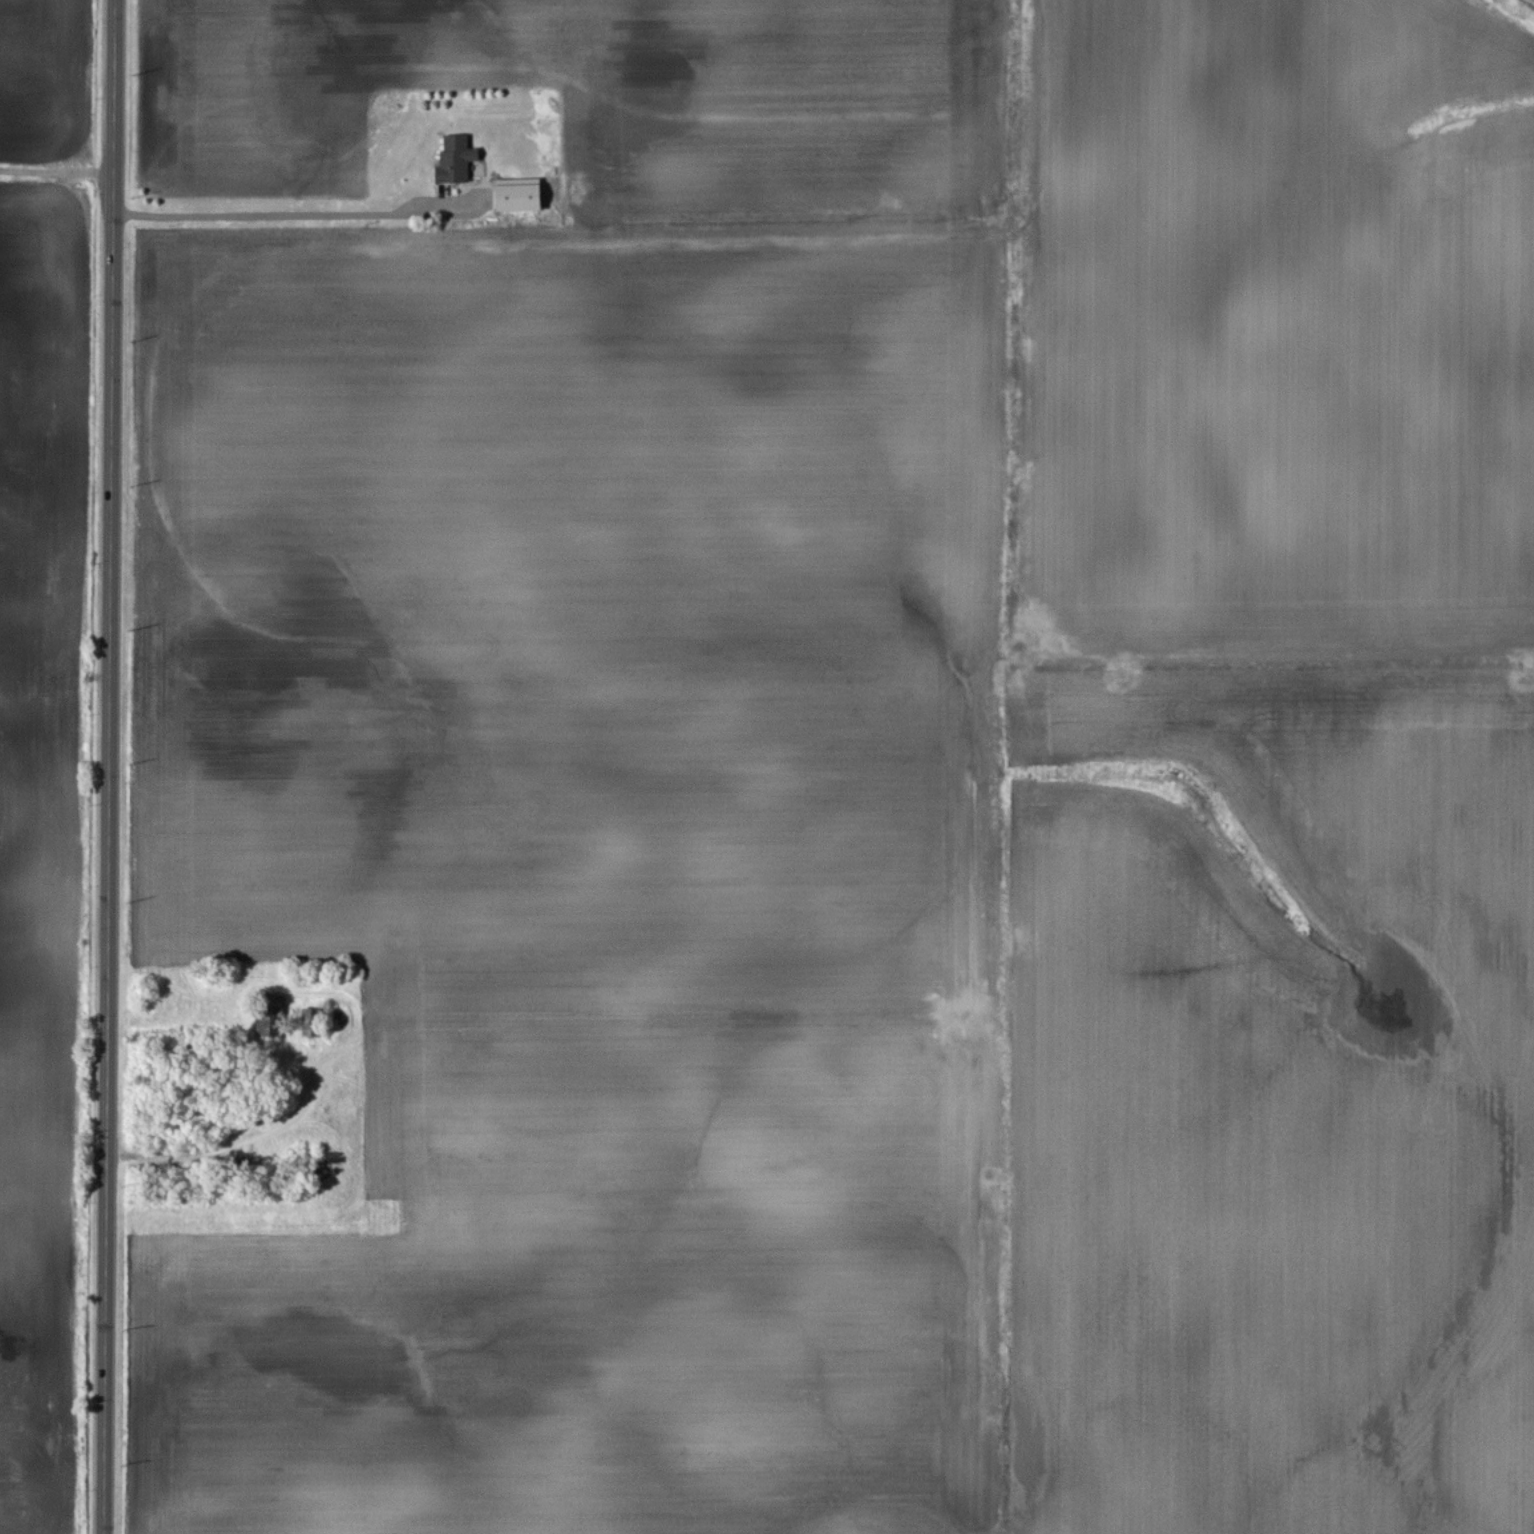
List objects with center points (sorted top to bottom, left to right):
building: (458, 161)
road: (57, 163)
building: (522, 196)
road: (295, 218)
road: (108, 766)
building: (314, 1023)
building: (273, 1029)

